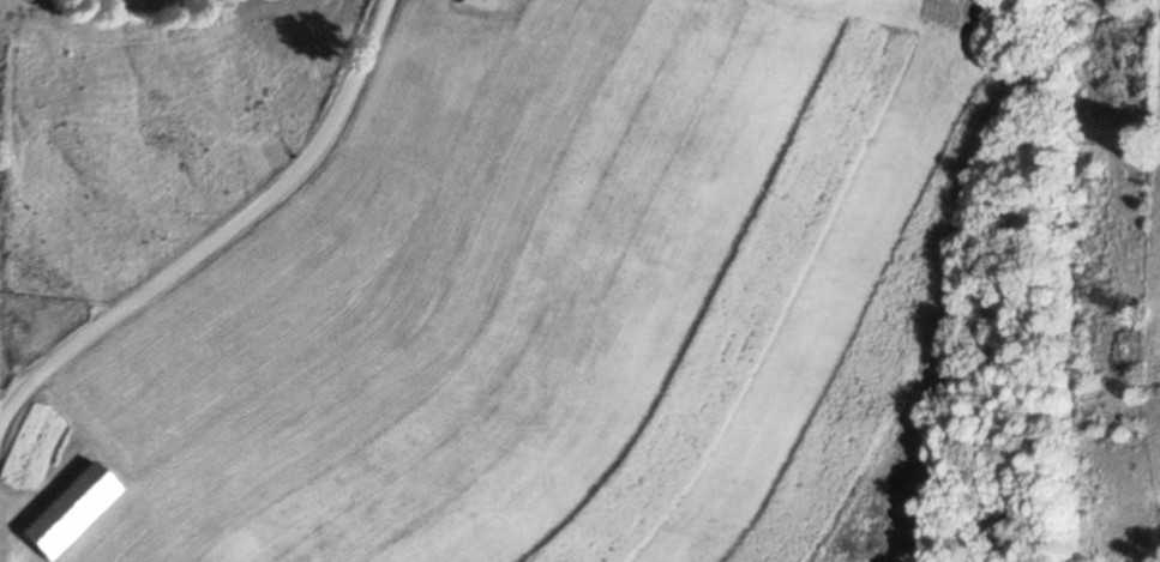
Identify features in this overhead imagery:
road: (139, 16)
road: (221, 240)
building: (65, 514)

